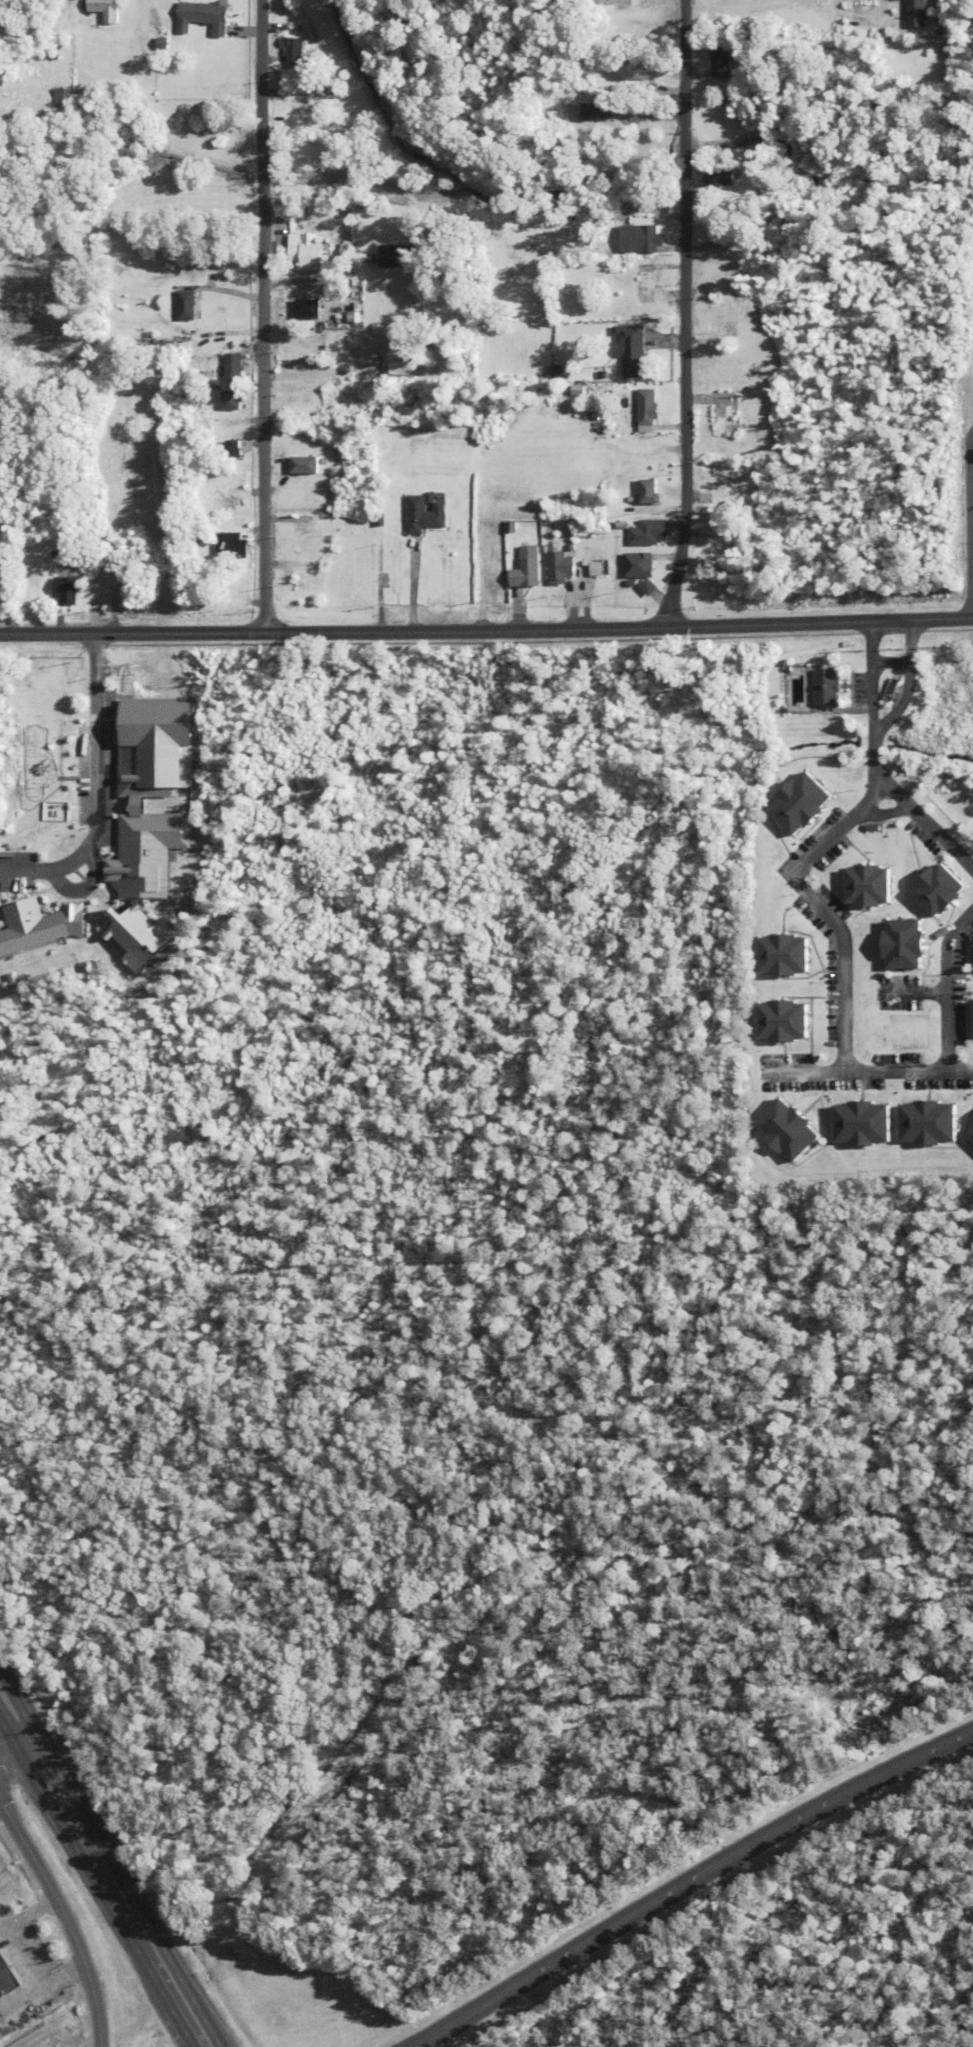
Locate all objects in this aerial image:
building: (612, 5)
road: (726, 6)
building: (104, 9)
building: (919, 13)
building: (205, 16)
building: (294, 50)
building: (721, 62)
building: (635, 71)
building: (61, 96)
building: (719, 177)
building: (640, 239)
building: (306, 251)
building: (392, 256)
building: (726, 257)
road: (310, 278)
building: (648, 283)
building: (187, 305)
building: (307, 307)
road: (682, 314)
road: (260, 315)
building: (725, 331)
building: (631, 351)
building: (301, 365)
building: (395, 366)
building: (235, 367)
building: (241, 400)
building: (648, 409)
building: (726, 414)
building: (236, 449)
building: (308, 474)
building: (728, 477)
building: (650, 492)
building: (232, 503)
building: (427, 515)
building: (308, 527)
building: (644, 534)
building: (233, 544)
building: (560, 566)
building: (640, 566)
building: (594, 568)
building: (497, 569)
building: (529, 569)
building: (124, 582)
building: (309, 582)
building: (68, 590)
road: (486, 629)
road: (95, 660)
road: (890, 661)
road: (871, 673)
road: (907, 681)
building: (830, 686)
building: (157, 794)
building: (793, 804)
road: (908, 804)
road: (98, 817)
building: (860, 887)
building: (930, 890)
road: (828, 910)
building: (47, 927)
building: (151, 937)
building: (894, 946)
building: (971, 955)
building: (775, 957)
road: (958, 995)
building: (968, 1019)
building: (773, 1023)
road: (870, 1072)
building: (853, 1125)
building: (921, 1125)
building: (778, 1132)
building: (967, 1135)
road: (17, 1714)
road: (7, 1743)
road: (17, 1754)
road: (62, 1789)
road: (0, 1806)
road: (67, 1843)
road: (692, 1882)
road: (64, 1919)
road: (153, 1941)
road: (134, 1954)
building: (10, 1974)
road: (170, 2013)
building: (3, 2036)

